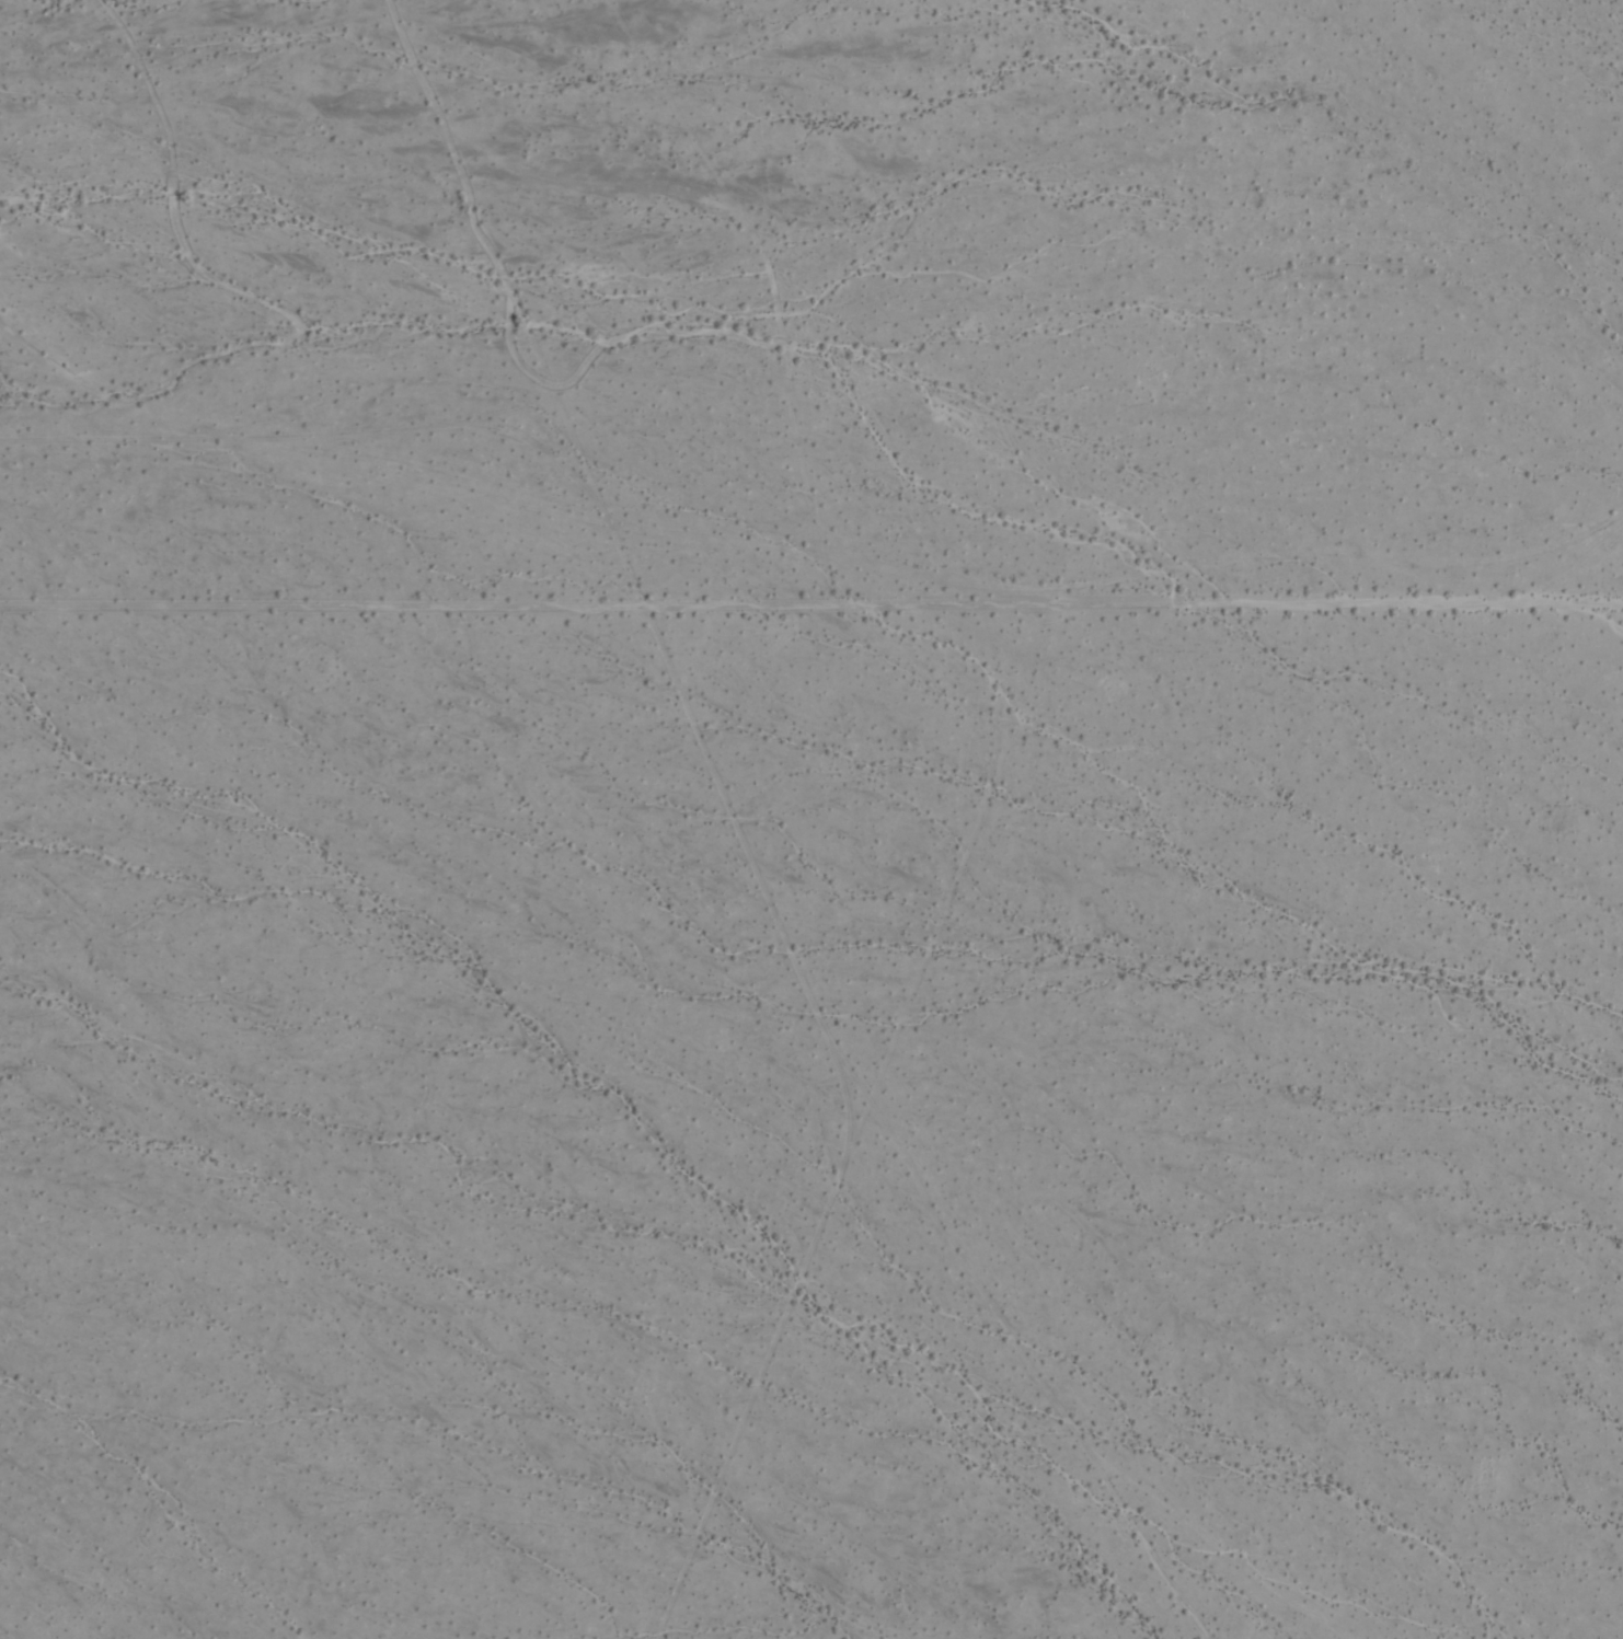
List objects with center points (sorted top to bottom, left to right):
road: (811, 588)

